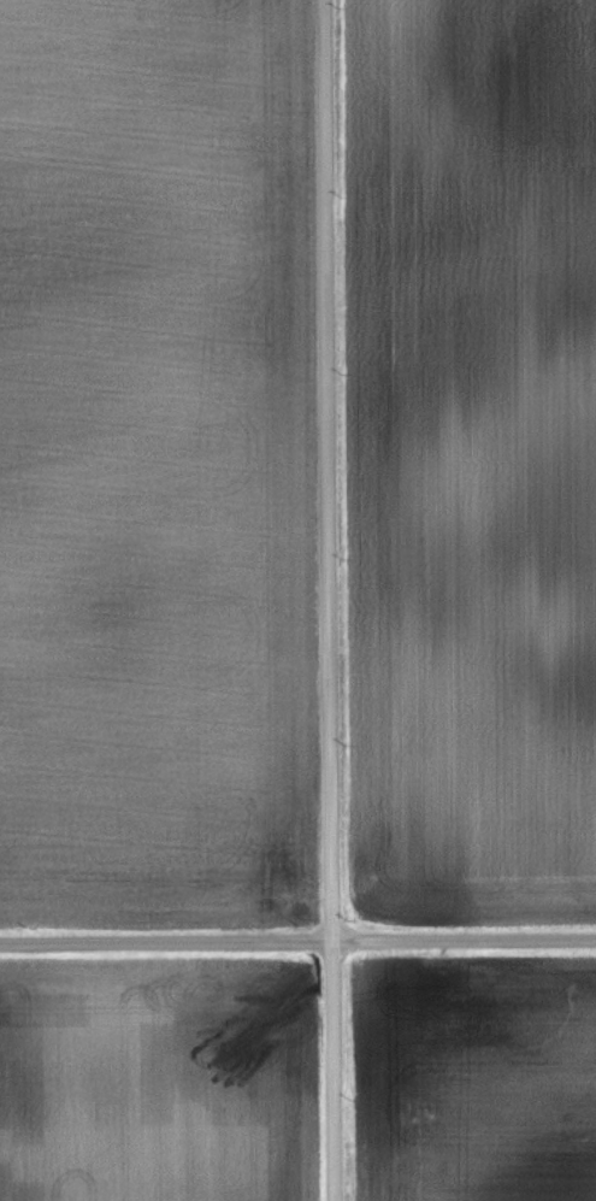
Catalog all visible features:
road: (319, 600)
road: (297, 941)

